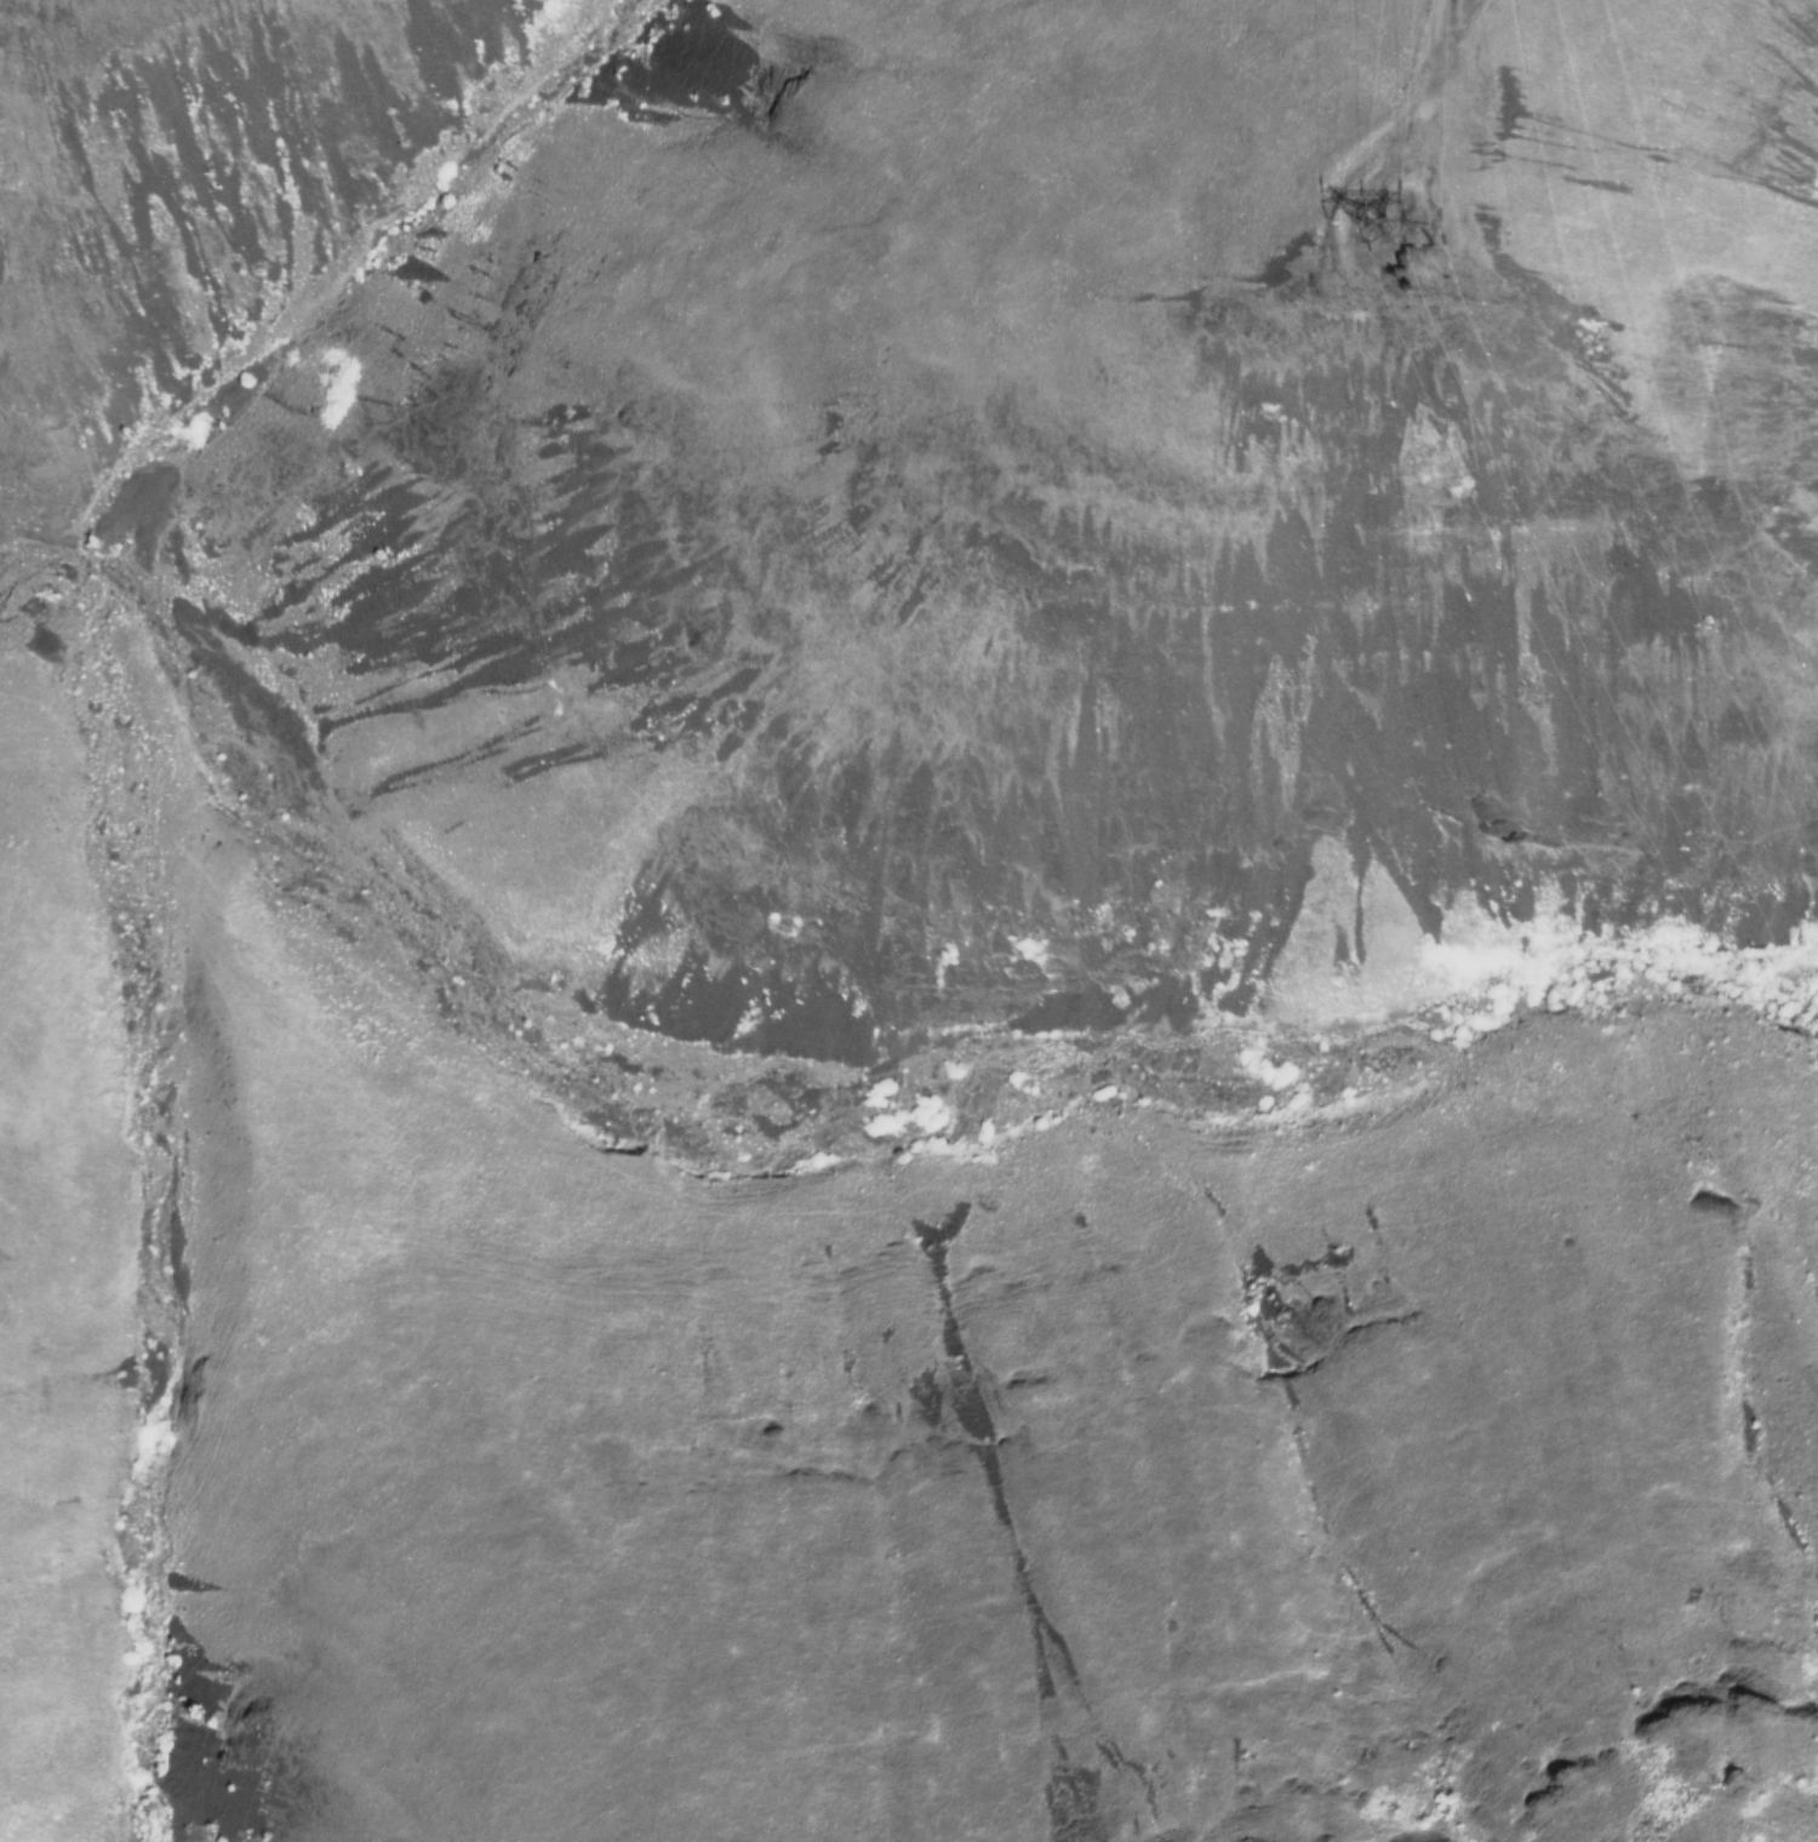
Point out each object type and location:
power tower: (1379, 217)

